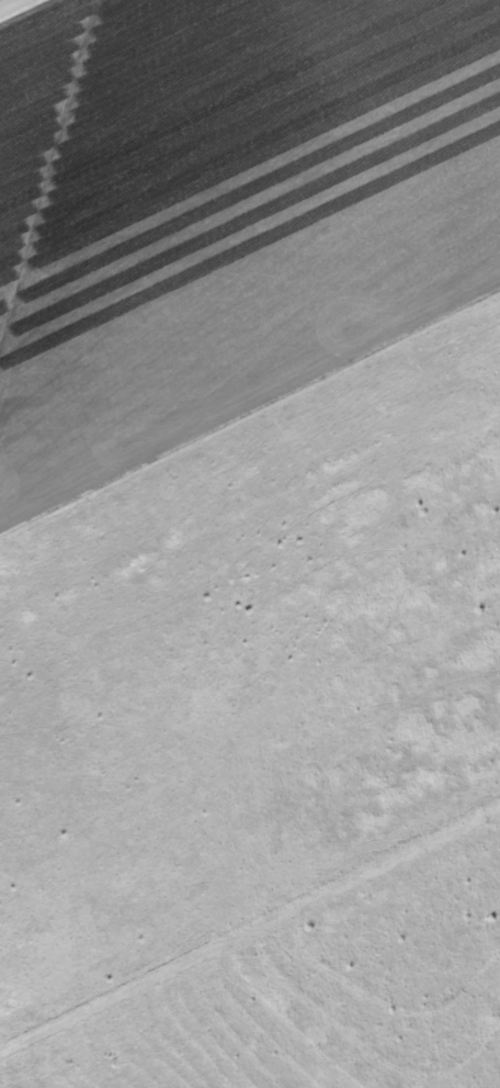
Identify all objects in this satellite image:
road: (1, 0)

